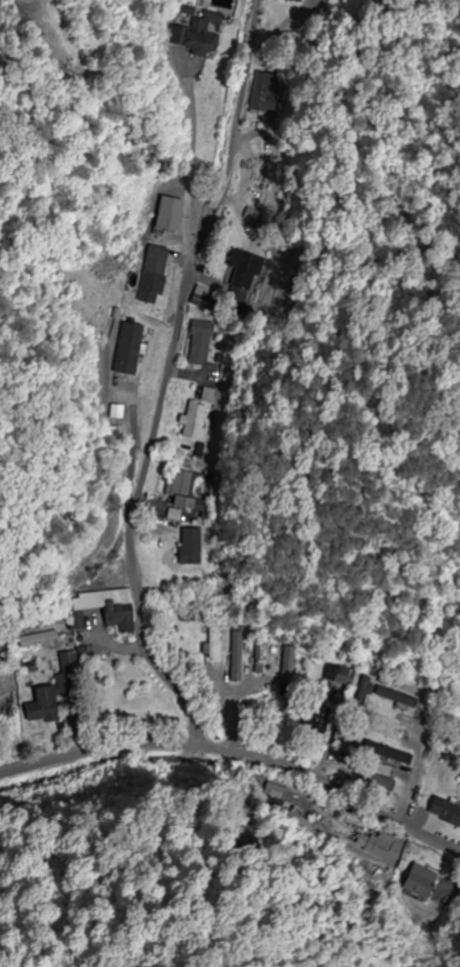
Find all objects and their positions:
building: (294, 1)
building: (195, 35)
building: (166, 214)
building: (150, 275)
building: (243, 276)
building: (198, 344)
road: (170, 383)
building: (210, 395)
building: (193, 425)
building: (178, 490)
building: (188, 547)
building: (104, 609)
building: (36, 641)
building: (212, 642)
building: (235, 657)
building: (258, 657)
building: (287, 668)
building: (339, 675)
building: (66, 676)
building: (397, 697)
building: (40, 706)
building: (393, 725)
building: (385, 752)
road: (242, 777)
building: (441, 813)

